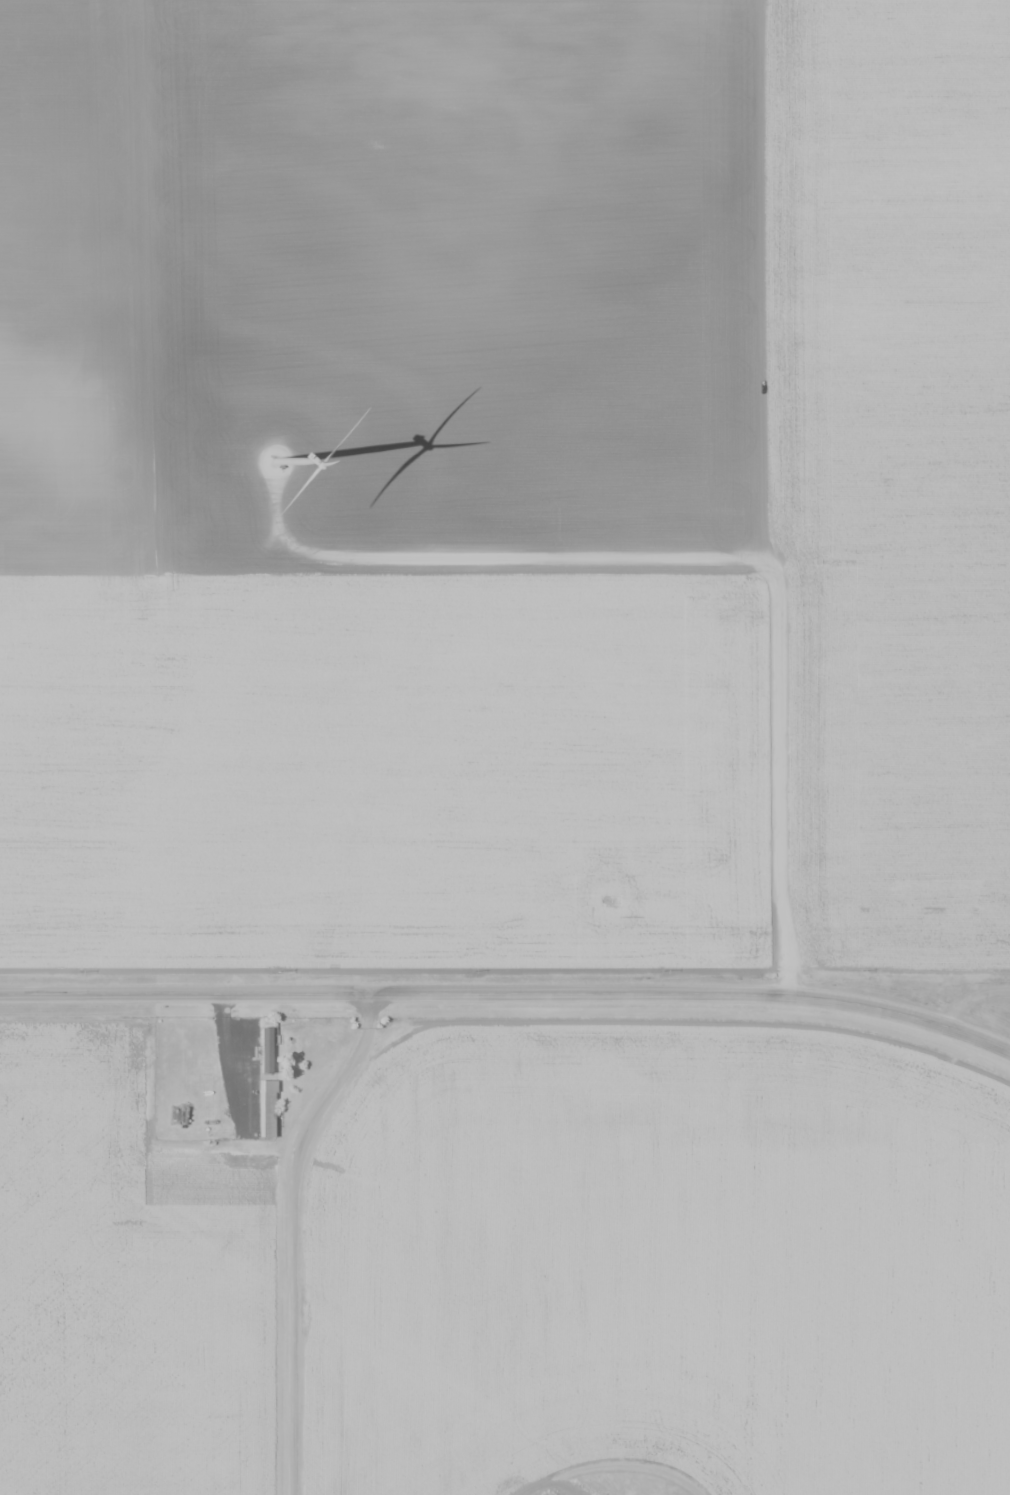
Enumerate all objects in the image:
wind turbine: (275, 462)
road: (703, 558)
road: (391, 972)
road: (508, 993)
building: (267, 1058)
road: (234, 1064)
building: (266, 1109)
road: (292, 1234)

